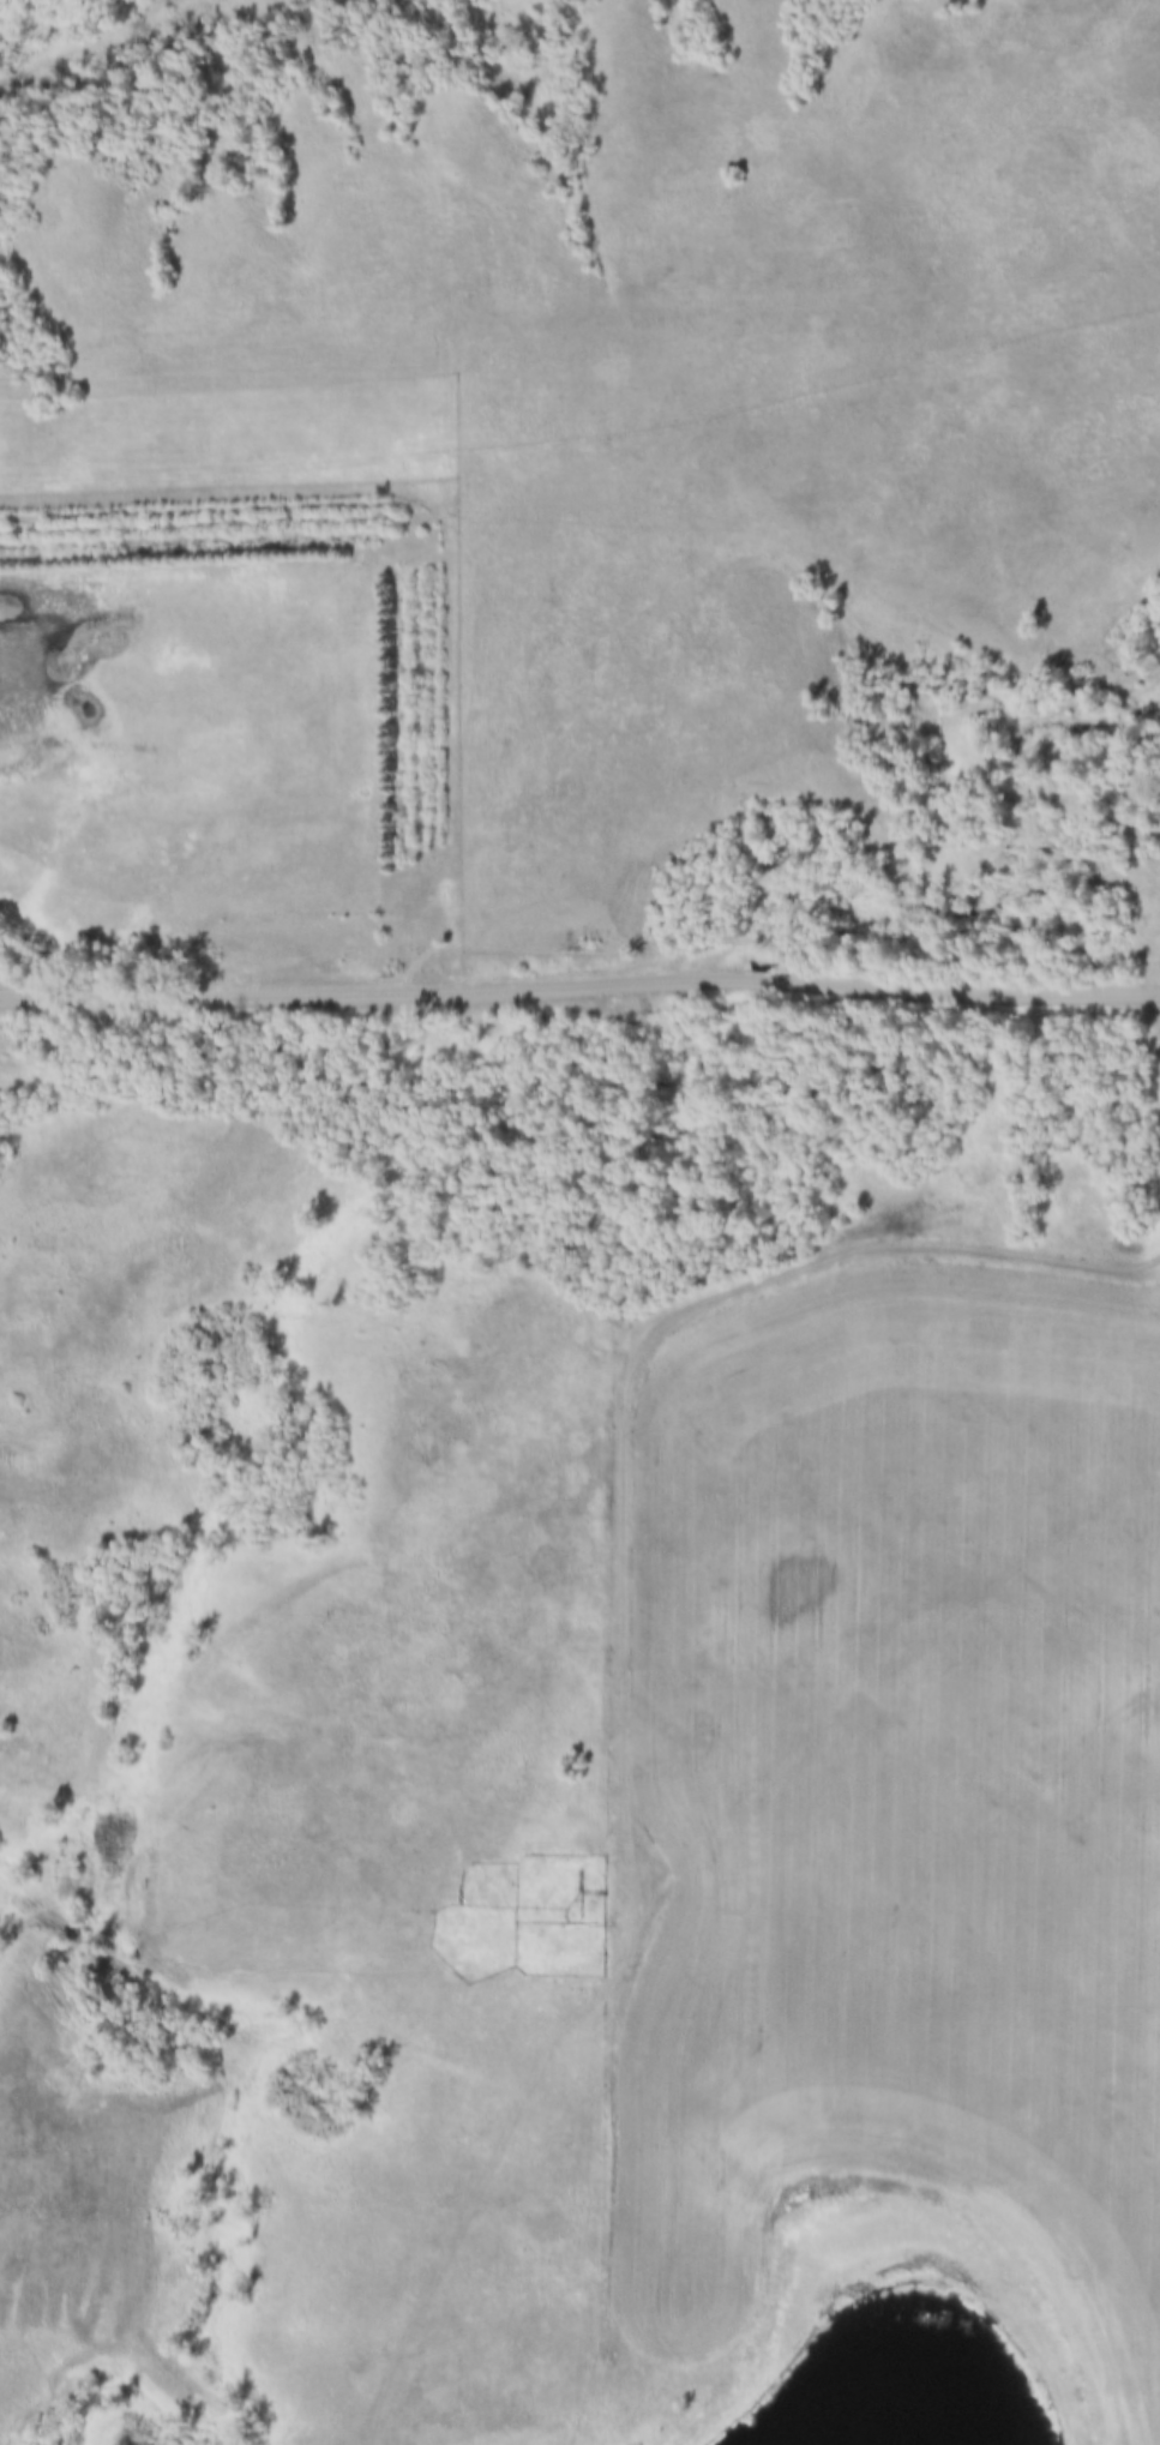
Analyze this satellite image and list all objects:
road: (579, 991)

